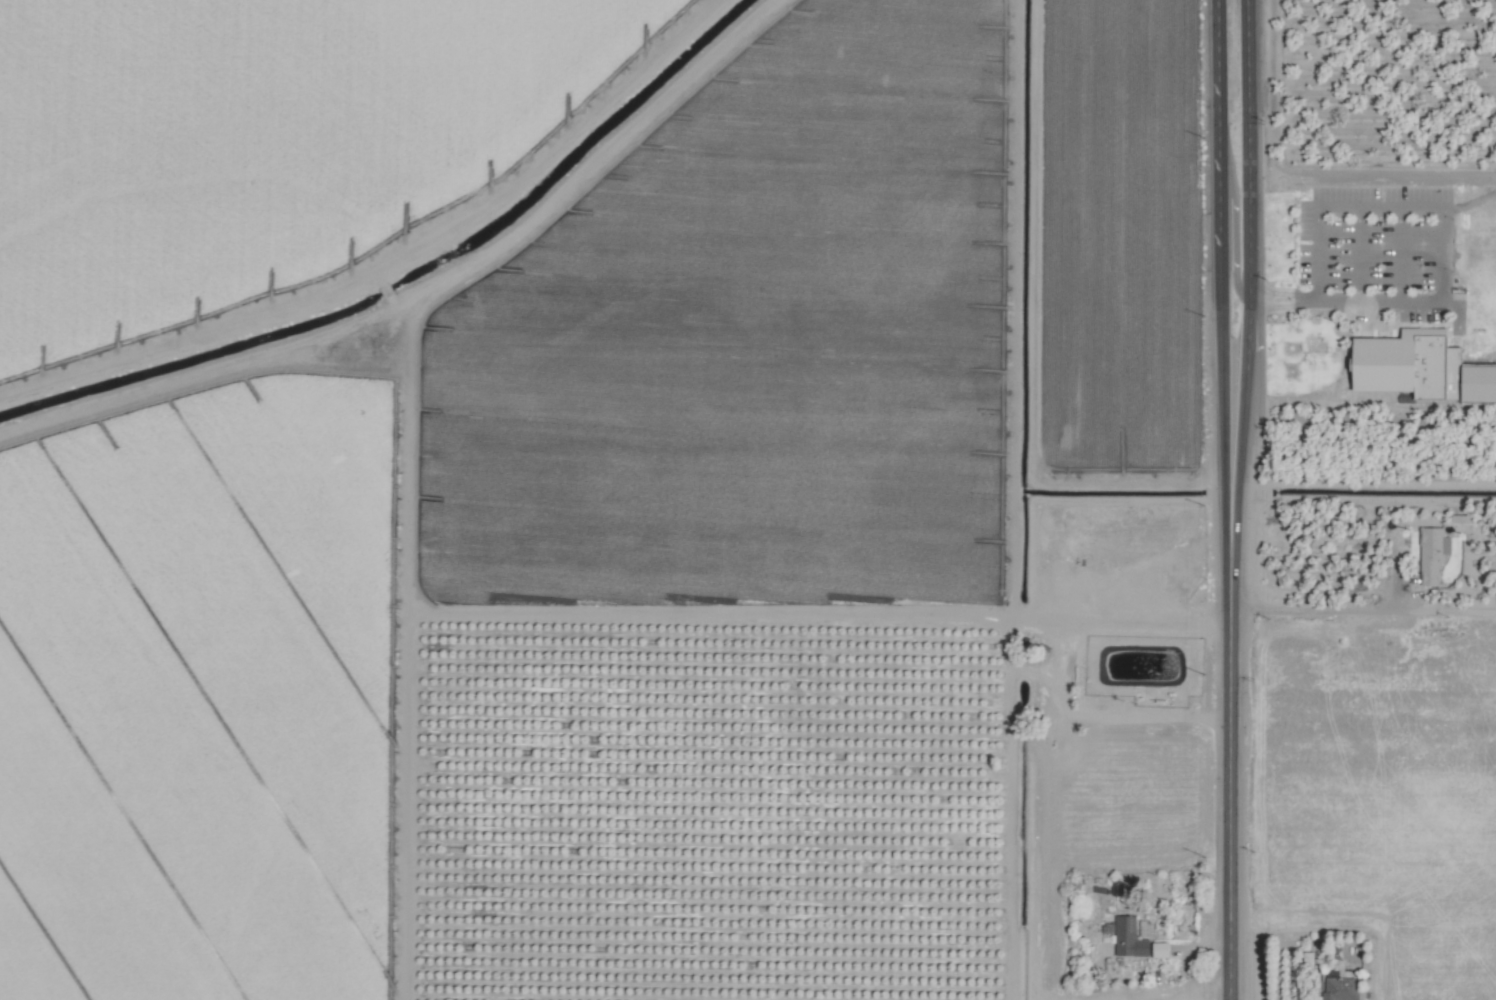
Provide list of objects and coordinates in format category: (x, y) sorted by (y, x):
road: (1218, 122)
road: (1247, 149)
road: (1235, 207)
road: (1283, 294)
road: (1378, 301)
road: (1282, 308)
road: (1247, 325)
road: (1246, 361)
building: (1410, 364)
road: (1221, 377)
road: (1240, 439)
crop: (748, 500)
road: (1226, 532)
road: (1232, 532)
building: (1432, 554)
road: (1229, 586)
road: (1362, 611)
road: (1229, 767)
crop: (1371, 809)
building: (1129, 938)
building: (1162, 950)
road: (1229, 959)
building: (1341, 989)

